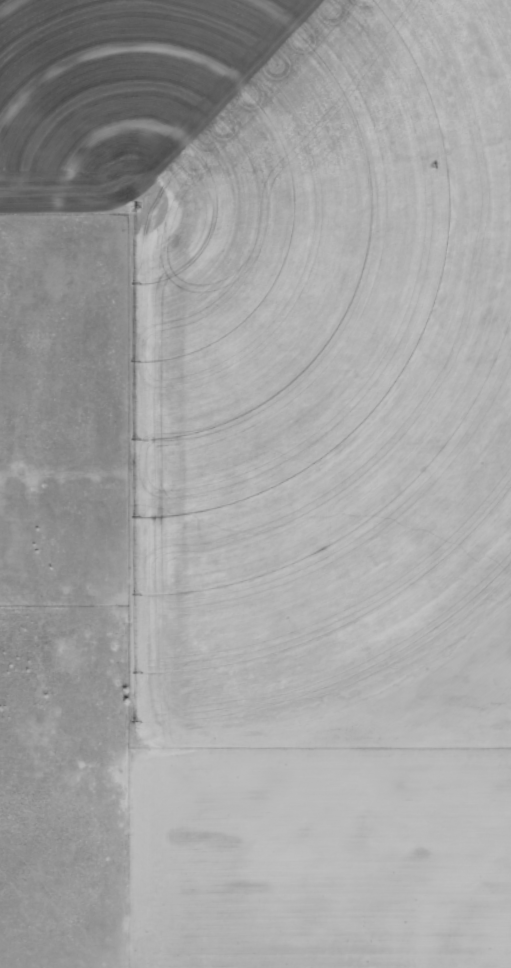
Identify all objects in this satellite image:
crop: (293, 332)

